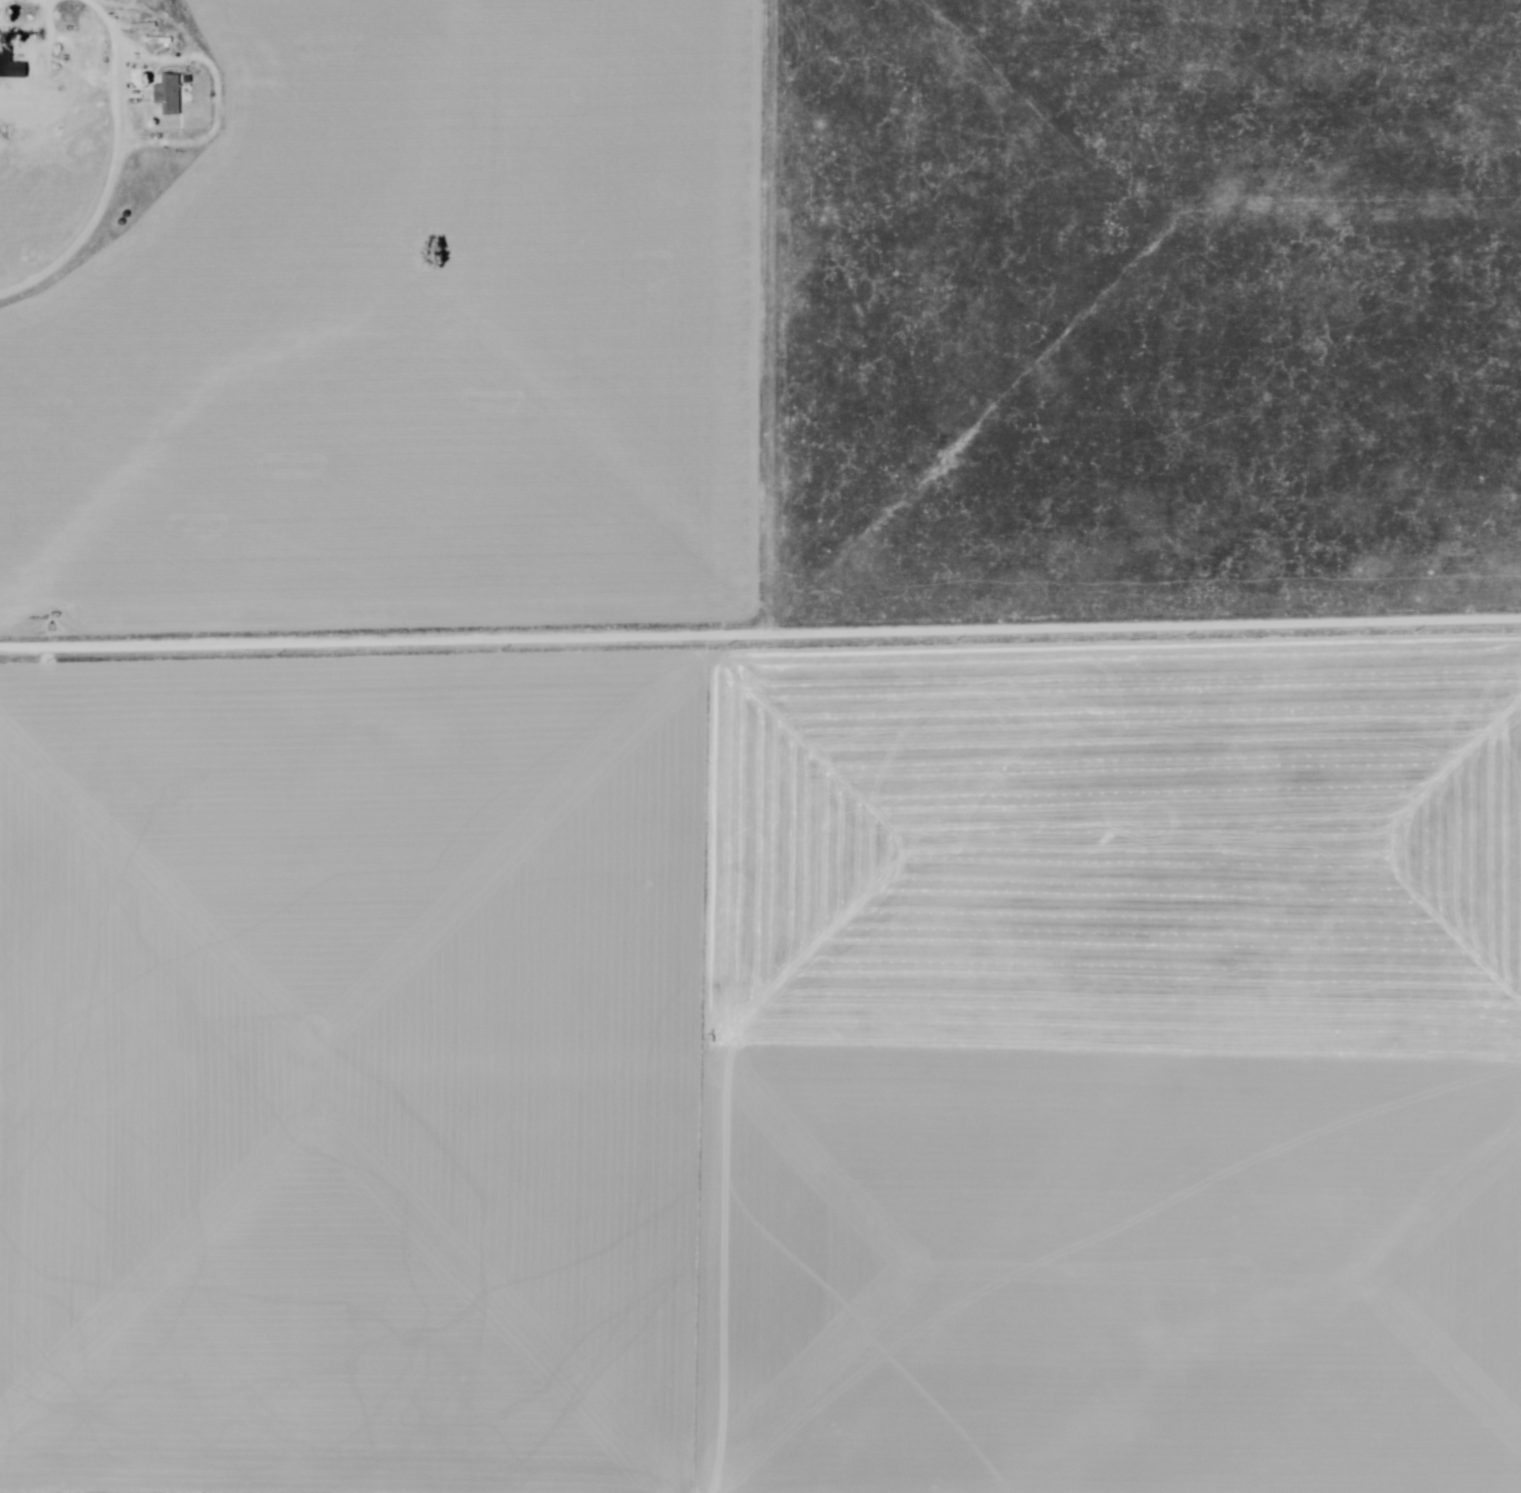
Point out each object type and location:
building: (9, 66)
building: (166, 95)
road: (760, 632)

